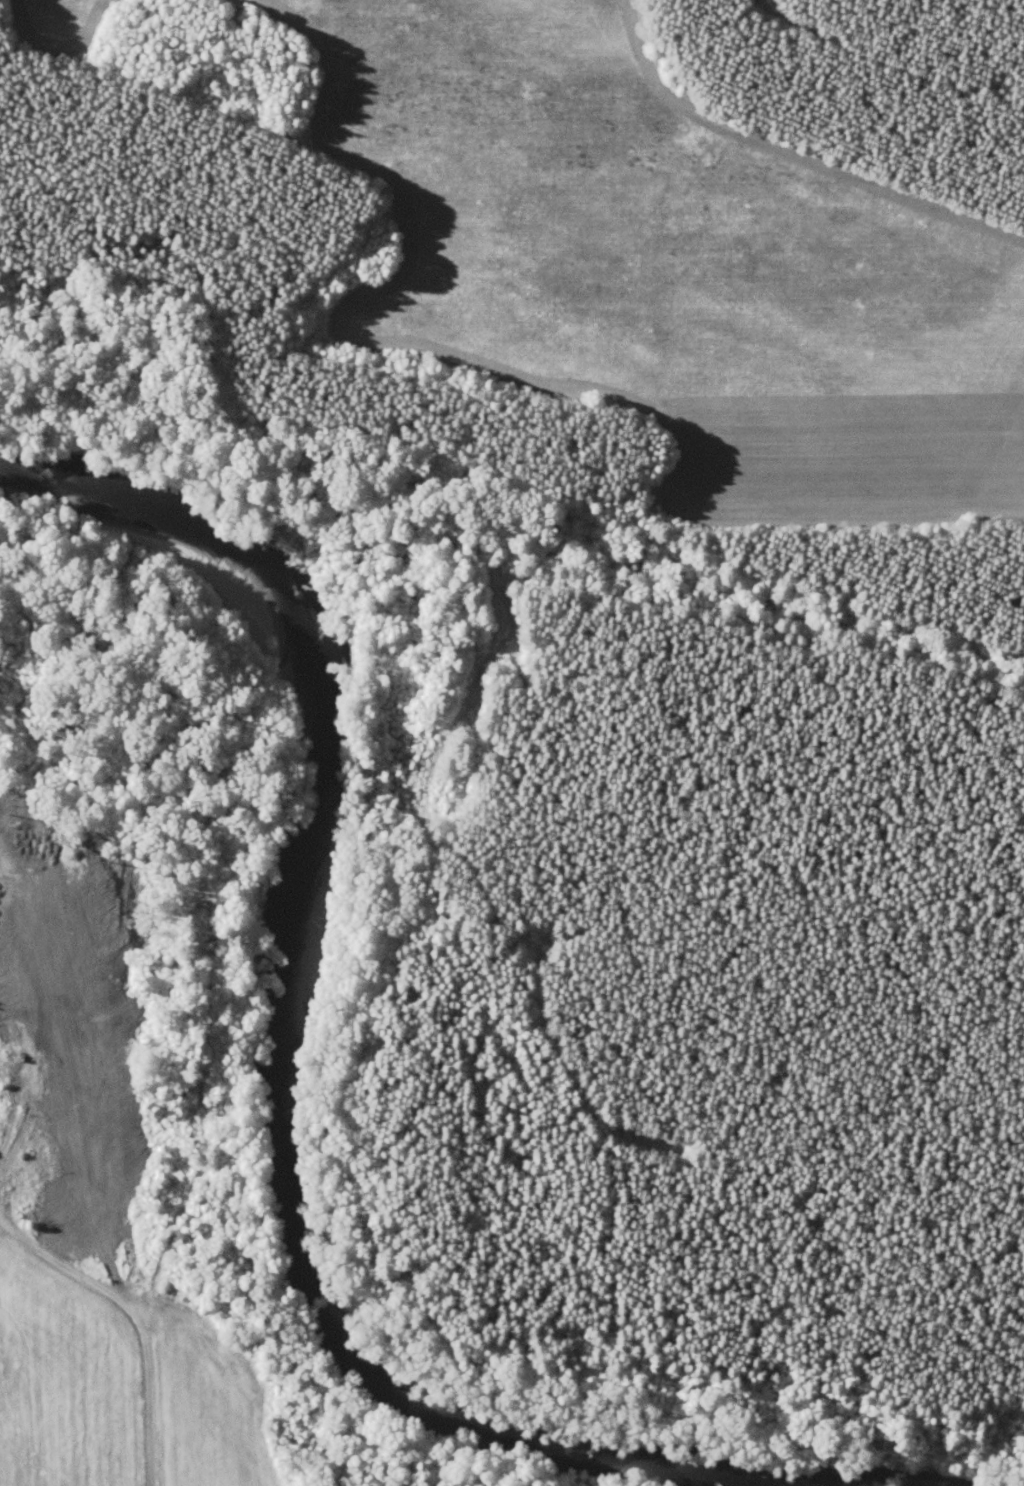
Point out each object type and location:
road: (137, 1317)

